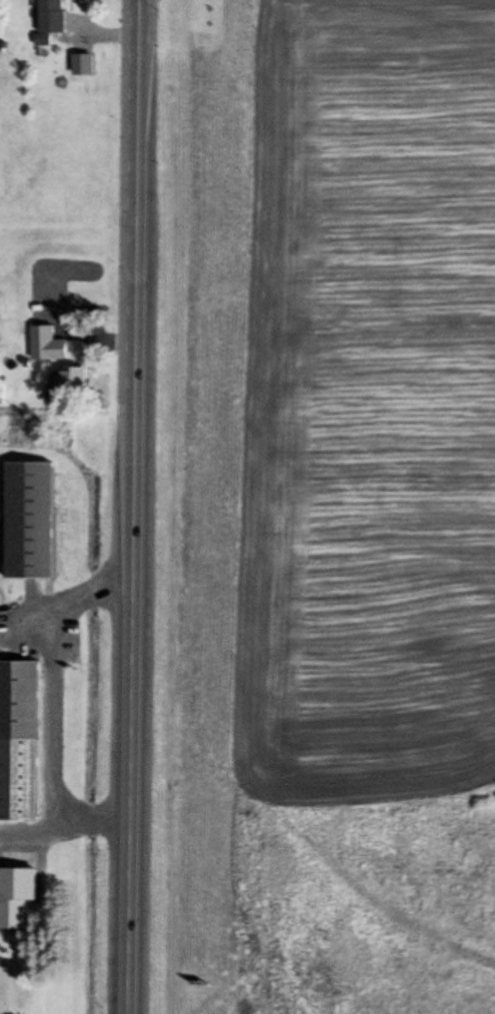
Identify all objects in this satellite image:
building: (56, 18)
building: (52, 344)
building: (73, 386)
road: (136, 507)
building: (36, 519)
building: (22, 738)
building: (23, 892)

